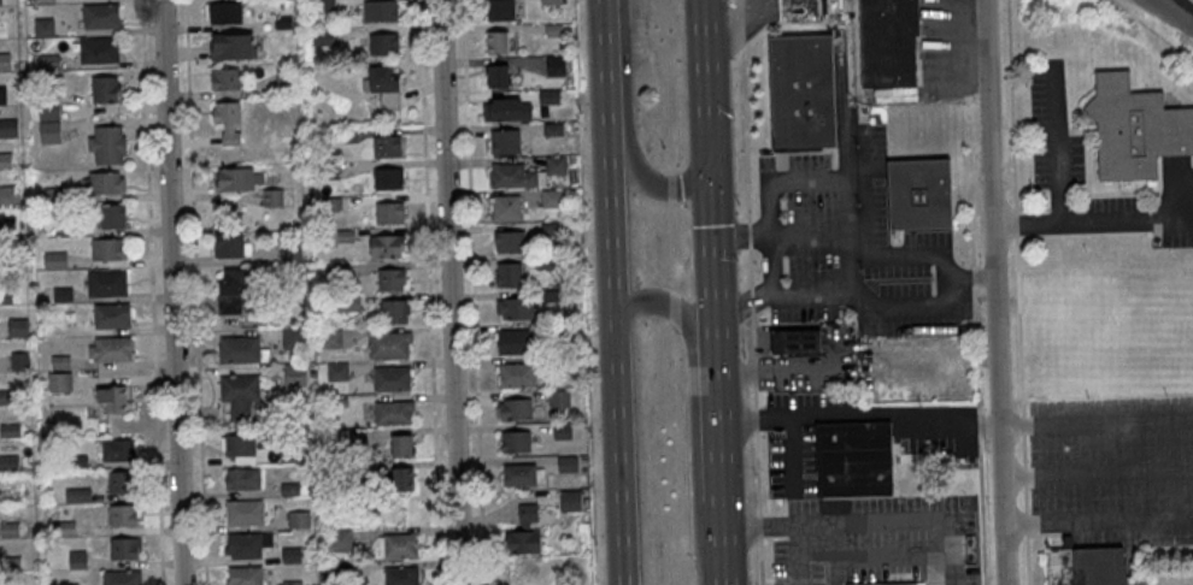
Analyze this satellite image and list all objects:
road: (1192, 0)
building: (0, 1)
building: (43, 1)
building: (552, 1)
building: (324, 5)
building: (380, 10)
building: (500, 10)
building: (798, 10)
building: (228, 13)
road: (1174, 13)
building: (101, 16)
building: (43, 26)
building: (2, 28)
road: (1153, 30)
building: (498, 41)
building: (888, 42)
building: (383, 43)
building: (233, 46)
building: (98, 49)
building: (556, 65)
road: (707, 72)
building: (499, 75)
building: (229, 78)
building: (286, 82)
building: (386, 84)
building: (105, 89)
building: (801, 90)
building: (1, 94)
building: (550, 96)
building: (48, 108)
building: (503, 108)
building: (228, 120)
building: (8, 128)
building: (1134, 128)
building: (49, 132)
road: (627, 136)
building: (506, 141)
parking lot: (1057, 143)
building: (106, 144)
traffic signals: (710, 144)
building: (387, 146)
road: (606, 156)
building: (556, 165)
building: (513, 175)
building: (388, 177)
building: (239, 178)
building: (102, 182)
building: (919, 193)
building: (552, 197)
building: (506, 207)
building: (389, 212)
building: (112, 215)
building: (342, 236)
building: (510, 241)
building: (231, 244)
building: (388, 246)
building: (107, 248)
building: (292, 250)
building: (54, 260)
building: (511, 273)
building: (393, 278)
building: (106, 282)
building: (233, 291)
road: (993, 291)
road: (1018, 291)
road: (151, 292)
road: (171, 292)
road: (195, 292)
road: (429, 292)
road: (449, 292)
road: (471, 292)
road: (751, 292)
building: (515, 307)
building: (394, 312)
building: (111, 315)
building: (17, 326)
building: (515, 341)
building: (795, 341)
building: (389, 344)
building: (111, 348)
building: (239, 349)
road: (713, 365)
building: (337, 372)
building: (295, 374)
building: (516, 374)
building: (392, 378)
building: (59, 382)
building: (239, 395)
building: (559, 398)
building: (112, 400)
building: (515, 409)
building: (393, 412)
road: (693, 412)
road: (857, 414)
road: (1095, 422)
road: (977, 427)
building: (516, 442)
building: (240, 445)
building: (400, 445)
building: (118, 449)
road: (617, 449)
building: (853, 459)
building: (569, 465)
parking lot: (1113, 468)
road: (1095, 472)
building: (522, 474)
building: (242, 479)
building: (402, 479)
building: (121, 481)
building: (78, 495)
building: (569, 501)
building: (245, 513)
building: (123, 514)
building: (299, 519)
road: (1097, 520)
road: (789, 524)
building: (524, 531)
road: (947, 537)
building: (340, 539)
building: (247, 544)
building: (398, 545)
building: (124, 548)
road: (1127, 552)
building: (77, 559)
building: (1085, 565)
road: (947, 567)
building: (245, 575)
building: (401, 575)
building: (121, 577)
building: (67, 584)
building: (897, 584)

